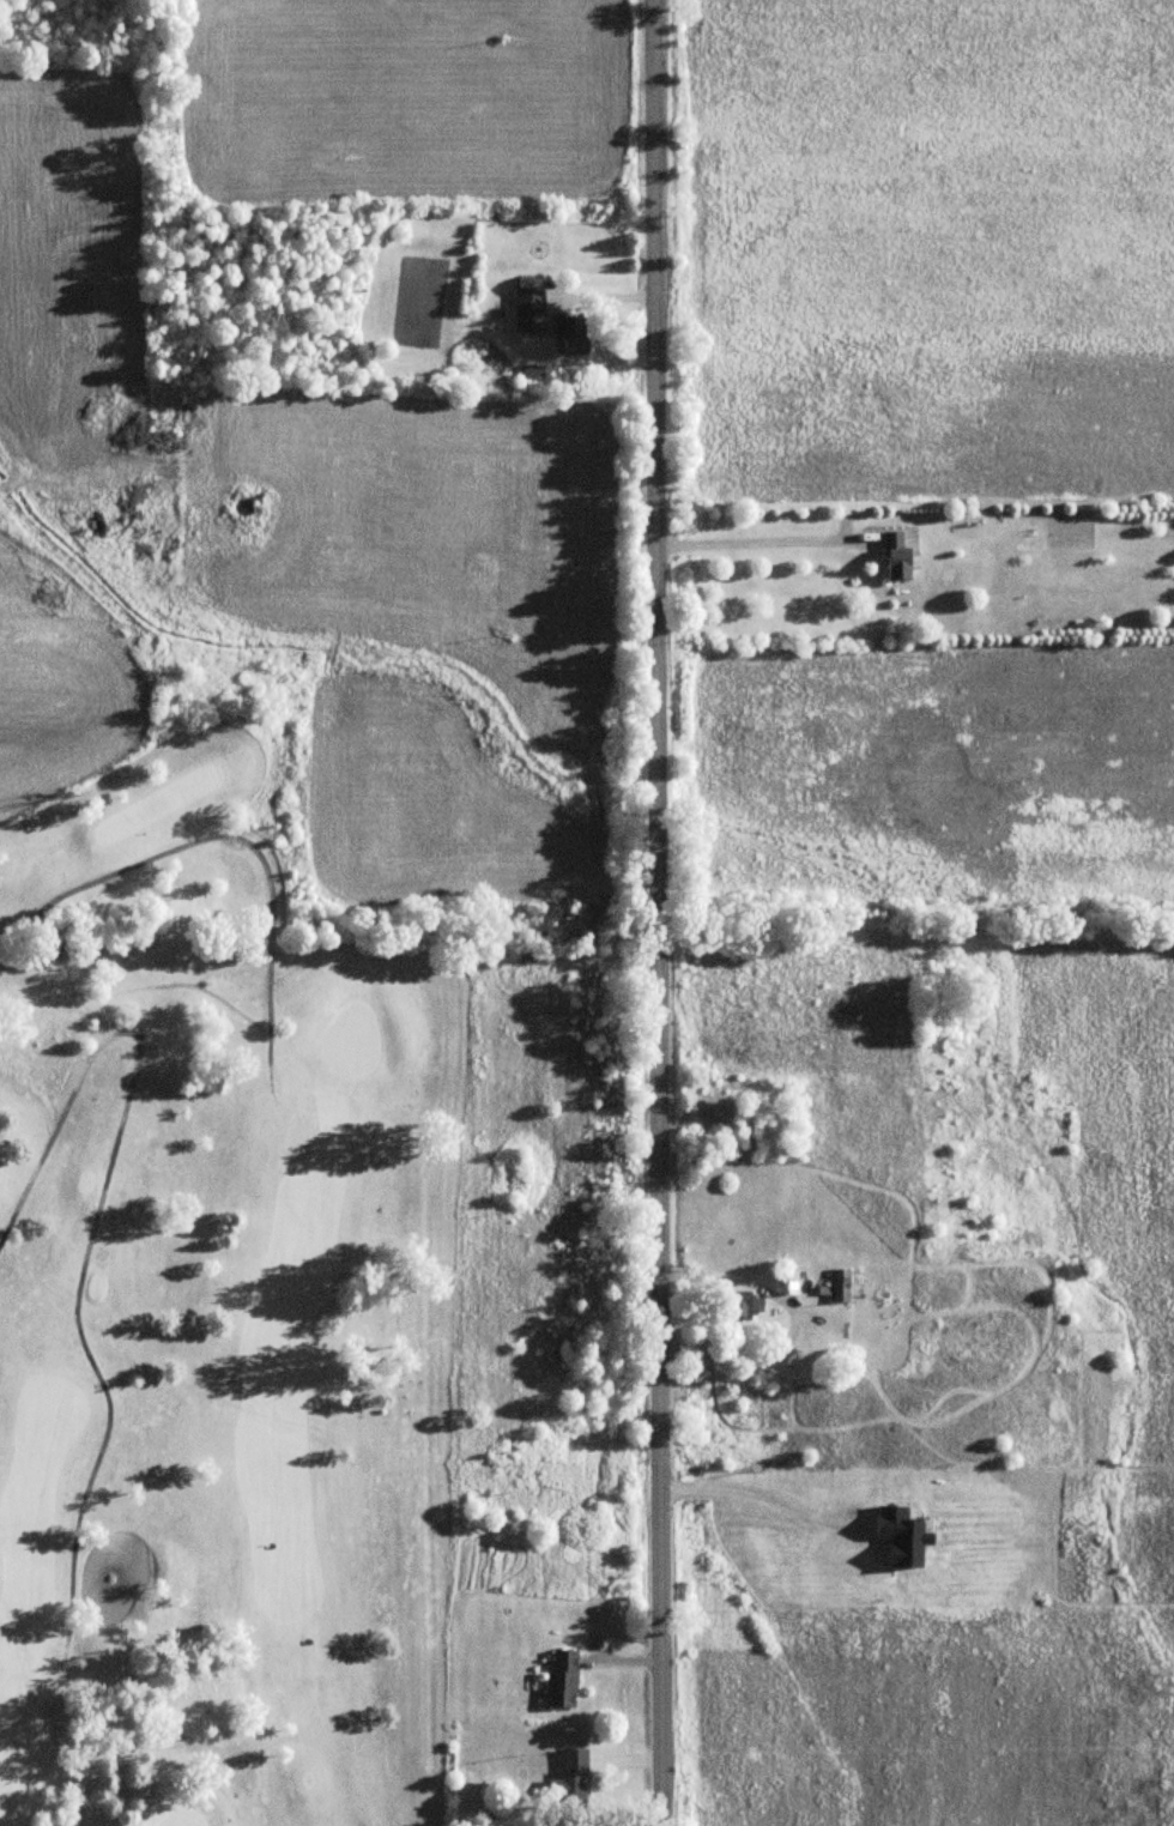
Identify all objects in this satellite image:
building: (531, 310)
building: (571, 333)
road: (754, 533)
building: (897, 557)
road: (915, 576)
road: (244, 841)
road: (655, 912)
road: (283, 956)
road: (216, 997)
road: (97, 1213)
building: (787, 1283)
building: (857, 1283)
park: (219, 1292)
building: (752, 1308)
road: (791, 1320)
road: (765, 1494)
building: (564, 1677)
building: (575, 1774)

